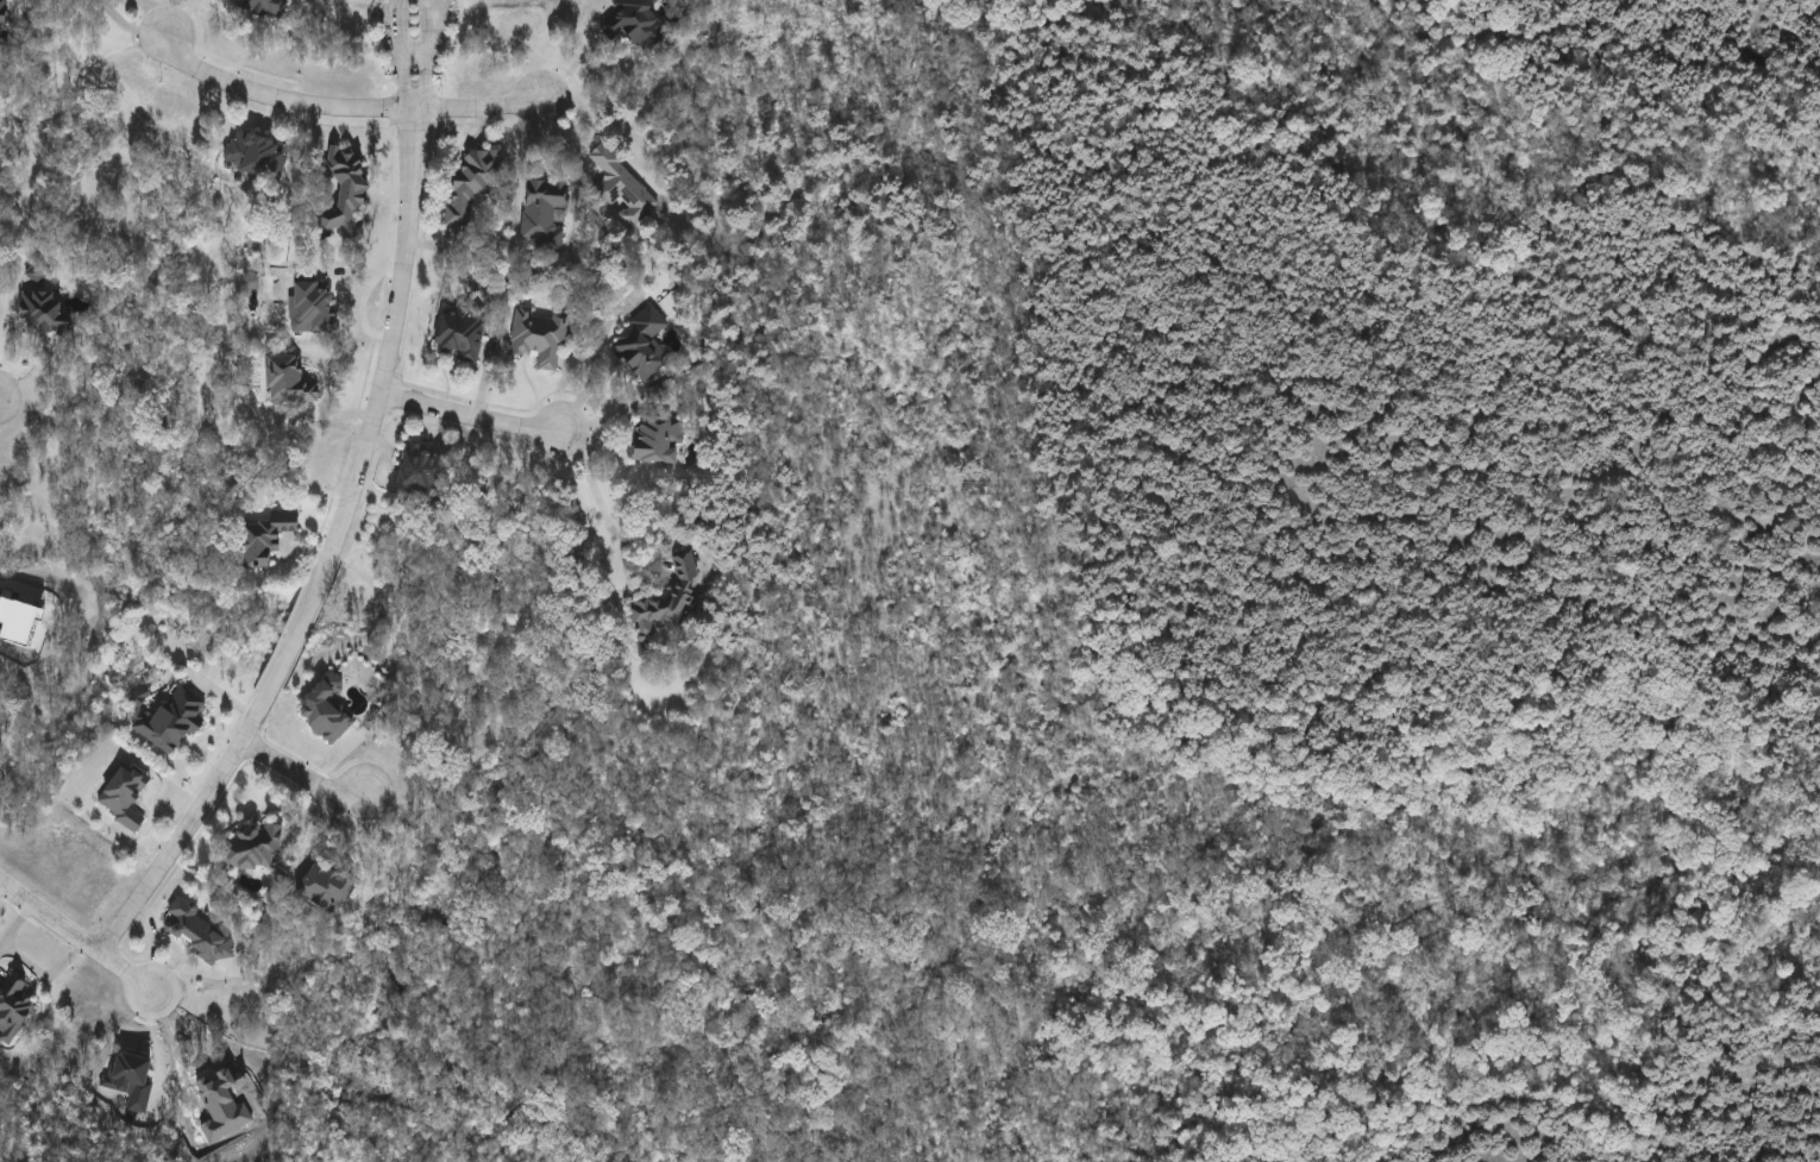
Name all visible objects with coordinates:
building: (2, 2)
building: (258, 6)
building: (4, 23)
building: (635, 23)
road: (124, 25)
road: (412, 38)
road: (577, 52)
road: (341, 106)
building: (257, 153)
building: (473, 184)
building: (622, 187)
building: (346, 190)
building: (545, 214)
building: (313, 307)
building: (45, 308)
building: (463, 332)
building: (539, 337)
building: (642, 345)
building: (289, 382)
road: (469, 417)
building: (659, 440)
building: (425, 472)
road: (597, 500)
building: (269, 539)
road: (335, 542)
building: (667, 602)
building: (328, 710)
building: (171, 721)
road: (301, 774)
building: (125, 794)
building: (255, 846)
building: (330, 885)
building: (199, 929)
road: (76, 936)
building: (13, 1007)

